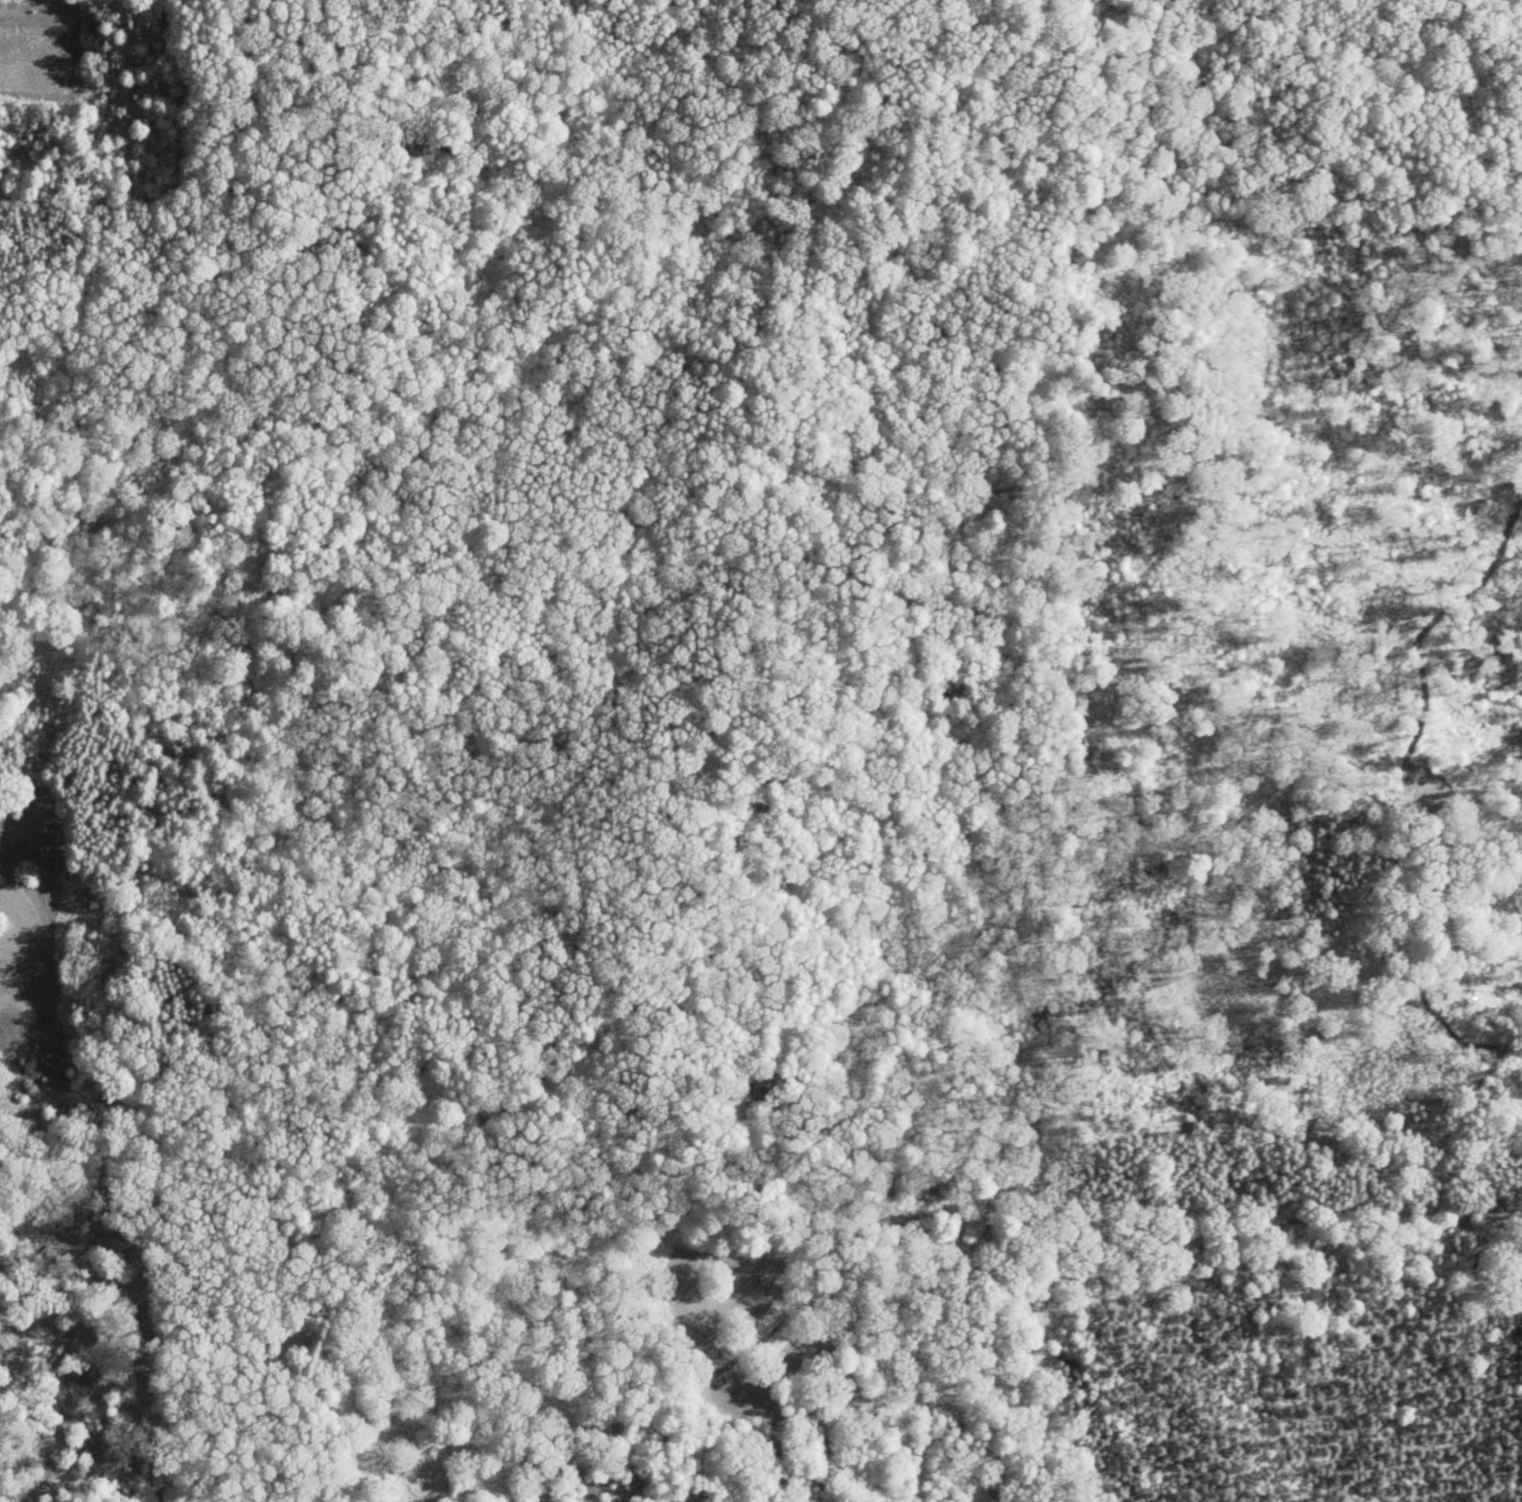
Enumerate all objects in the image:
building: (920, 1194)

